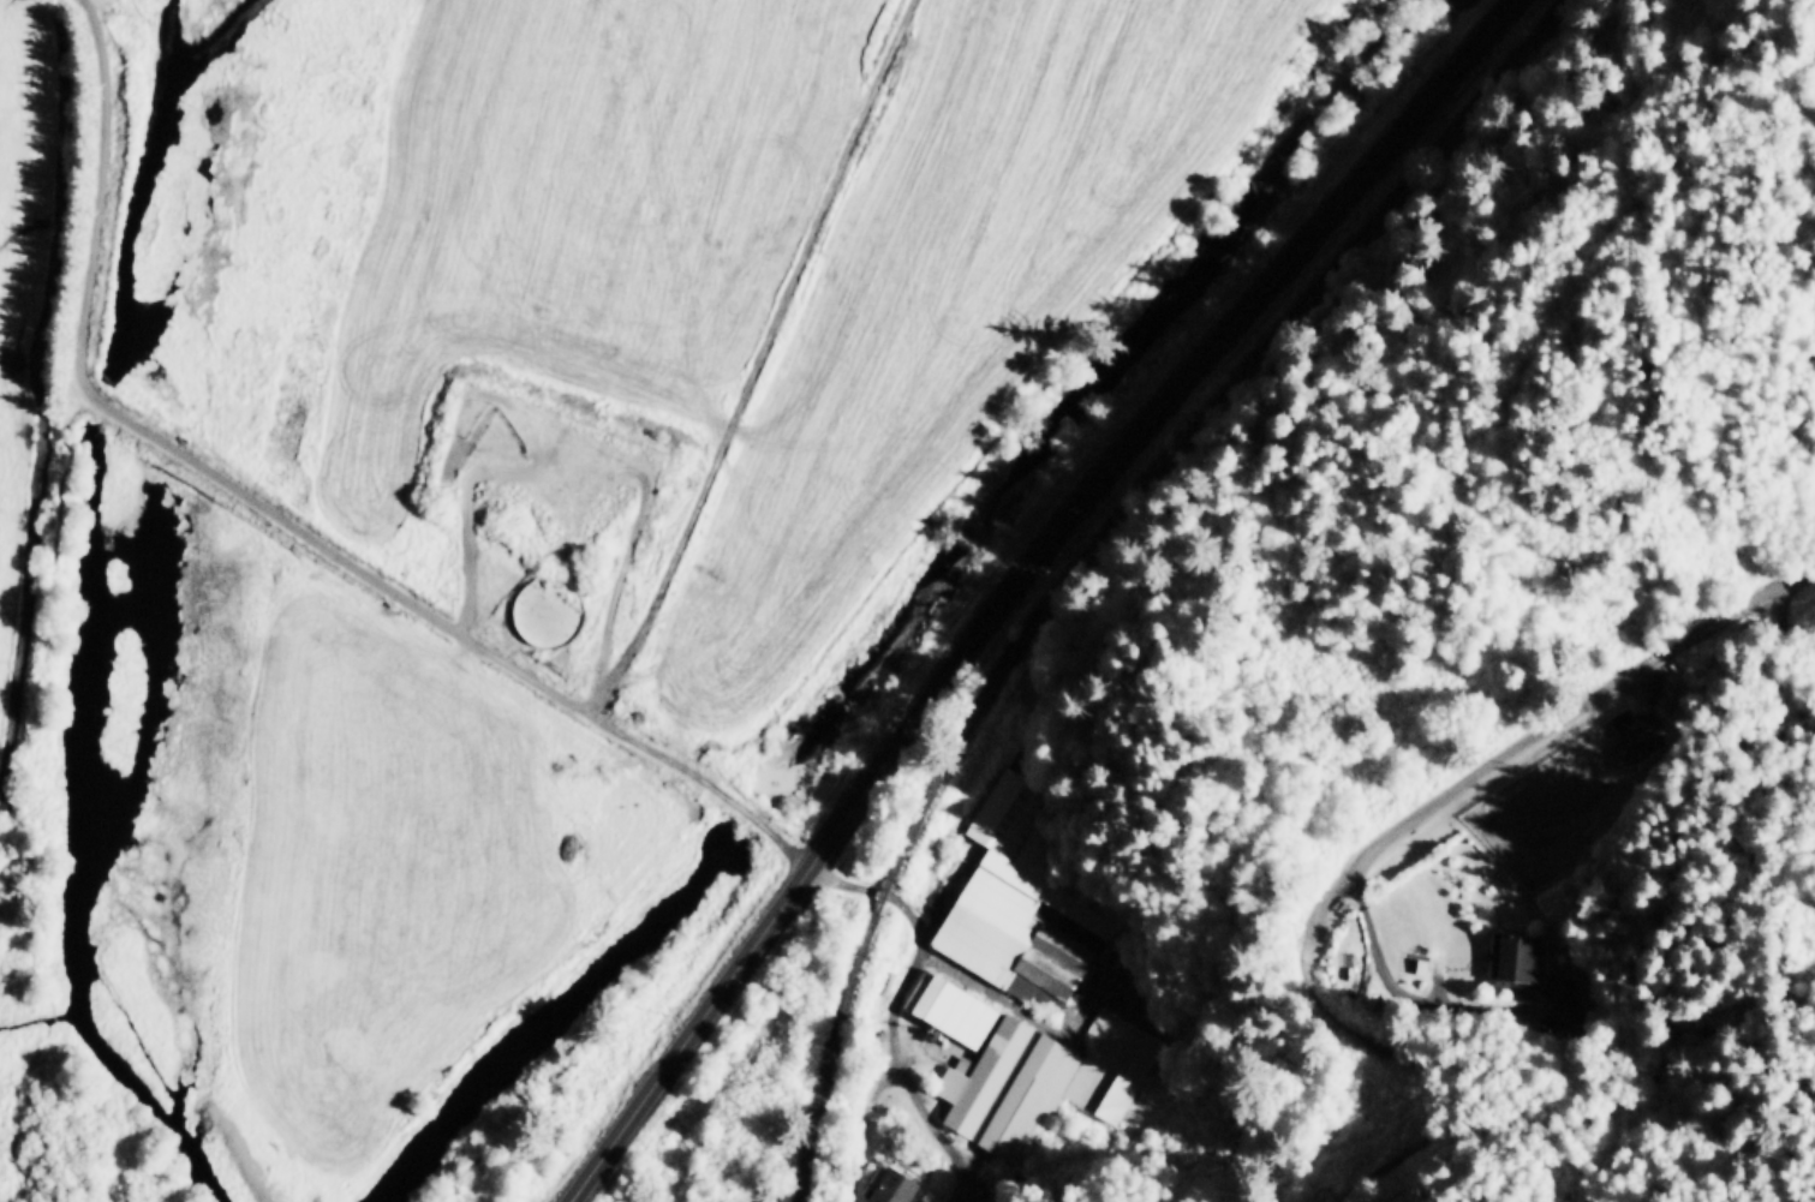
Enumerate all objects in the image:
railway: (1201, 412)
road: (281, 518)
road: (1016, 581)
road: (1395, 835)
railway: (884, 893)
building: (1010, 898)
building: (1514, 956)
road: (895, 1003)
building: (948, 1006)
railway: (840, 1062)
building: (1038, 1078)
road: (1517, 1143)

